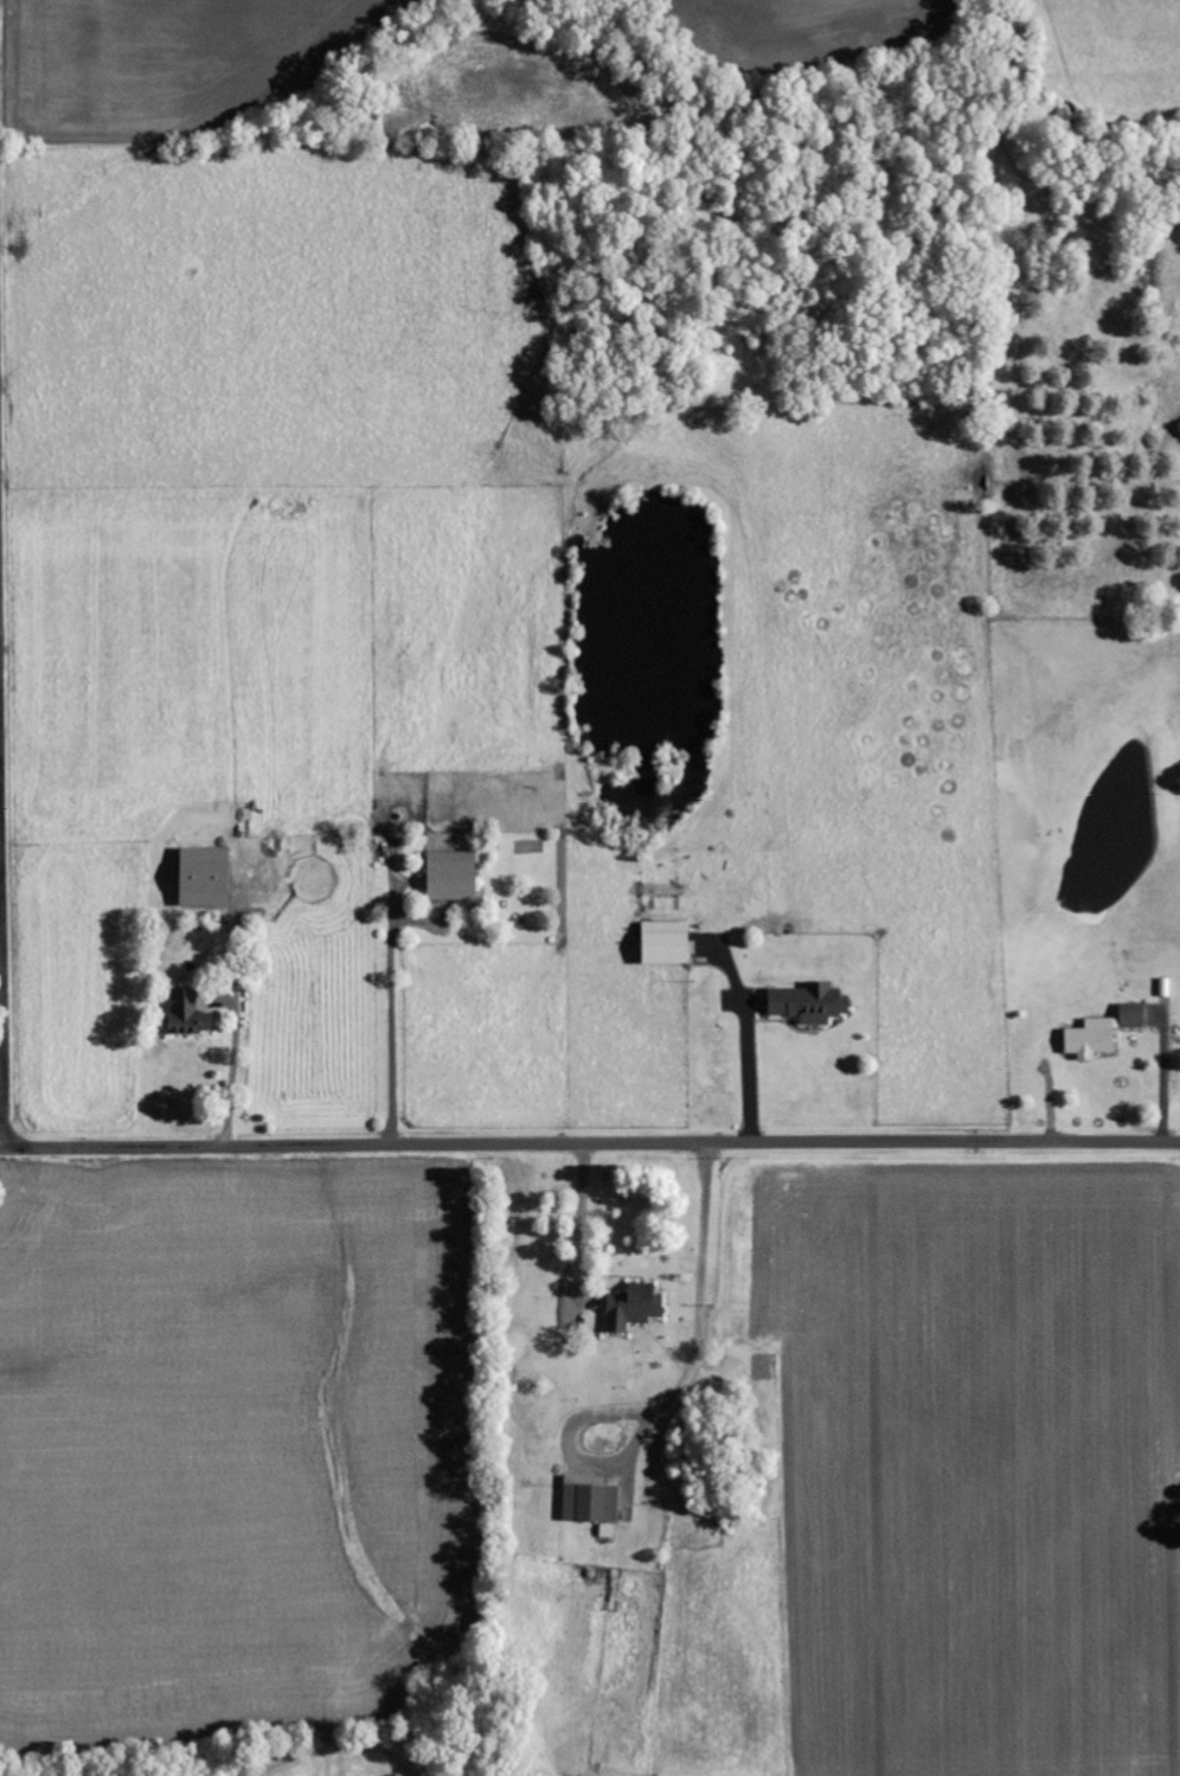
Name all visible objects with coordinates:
building: (210, 877)
building: (456, 877)
building: (671, 943)
building: (1167, 987)
building: (813, 1004)
building: (193, 1014)
road: (1, 1021)
building: (1104, 1032)
road: (589, 1143)
building: (635, 1307)
building: (594, 1499)

